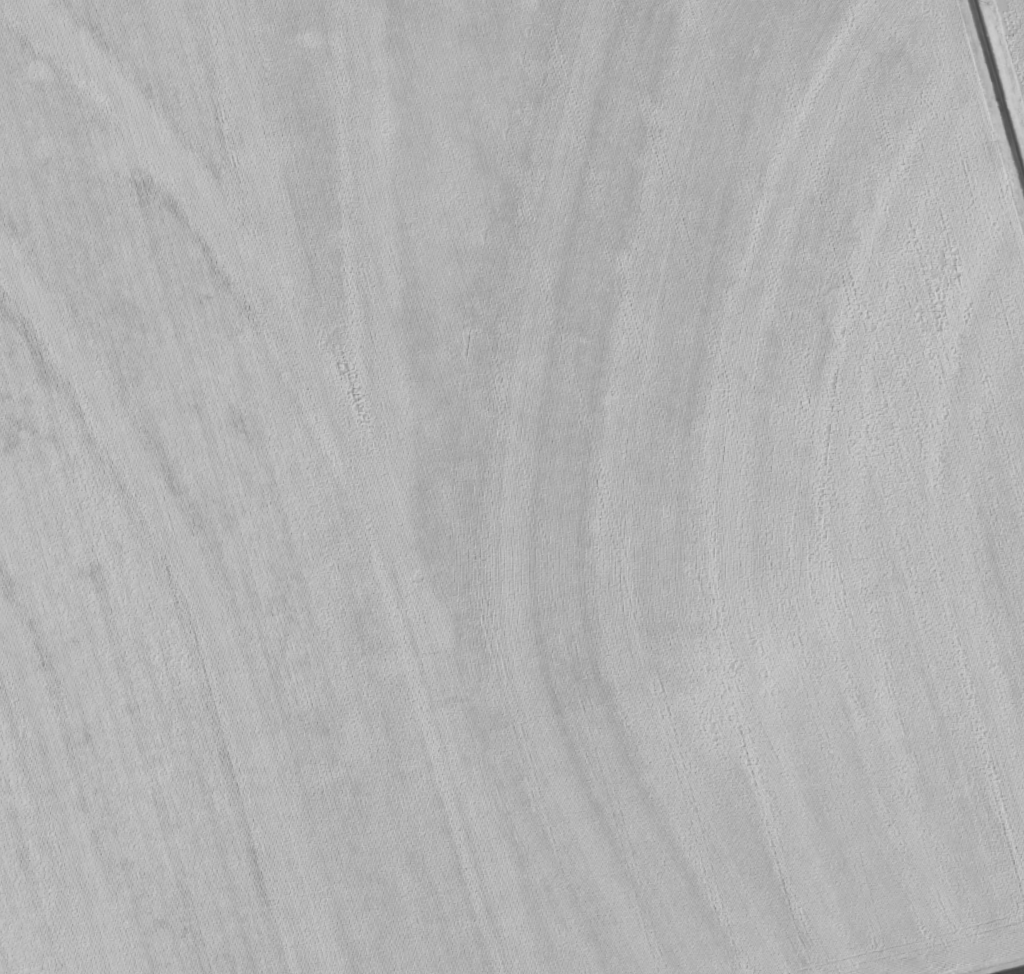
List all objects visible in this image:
road: (999, 87)
road: (1011, 970)

